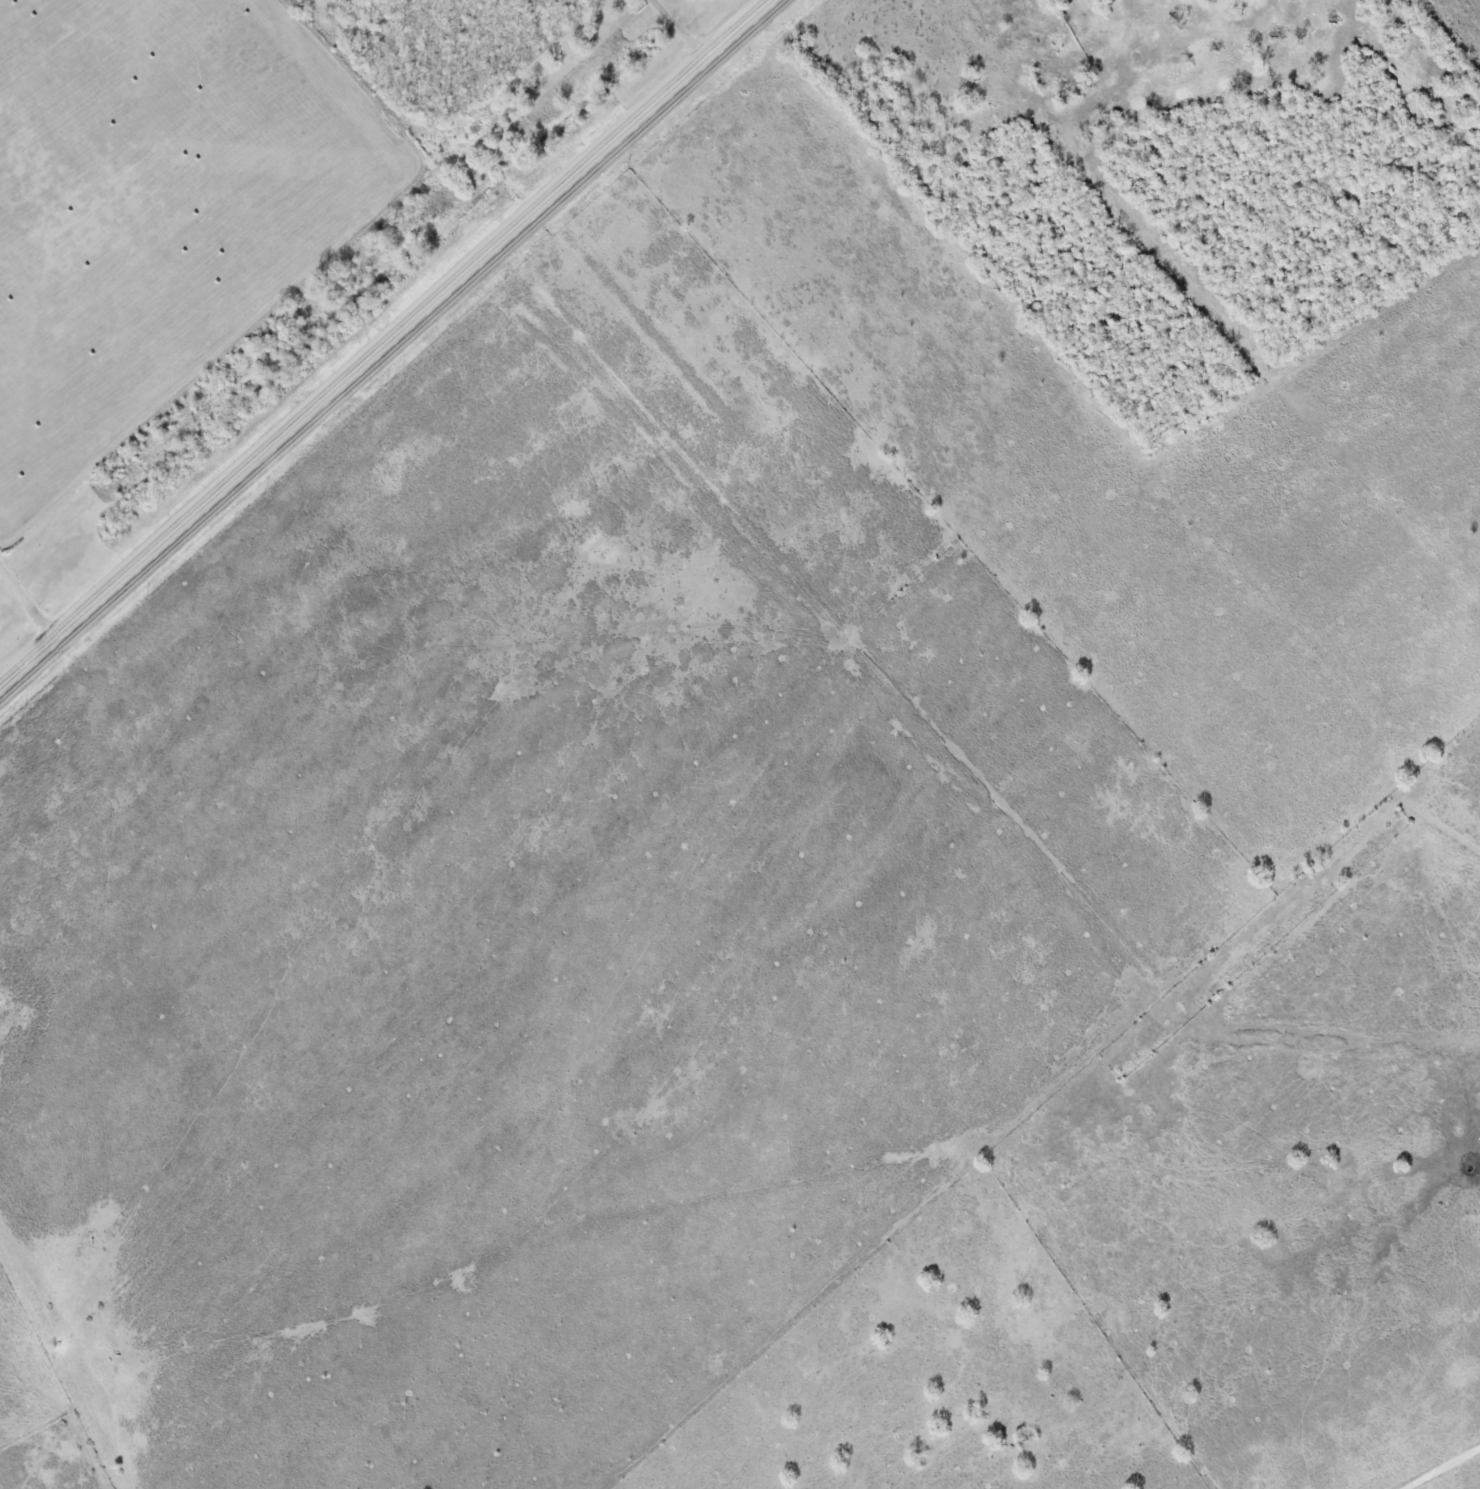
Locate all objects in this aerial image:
building: (1102, 39)
road: (385, 344)
road: (27, 606)
road: (1299, 929)
road: (1441, 1468)

